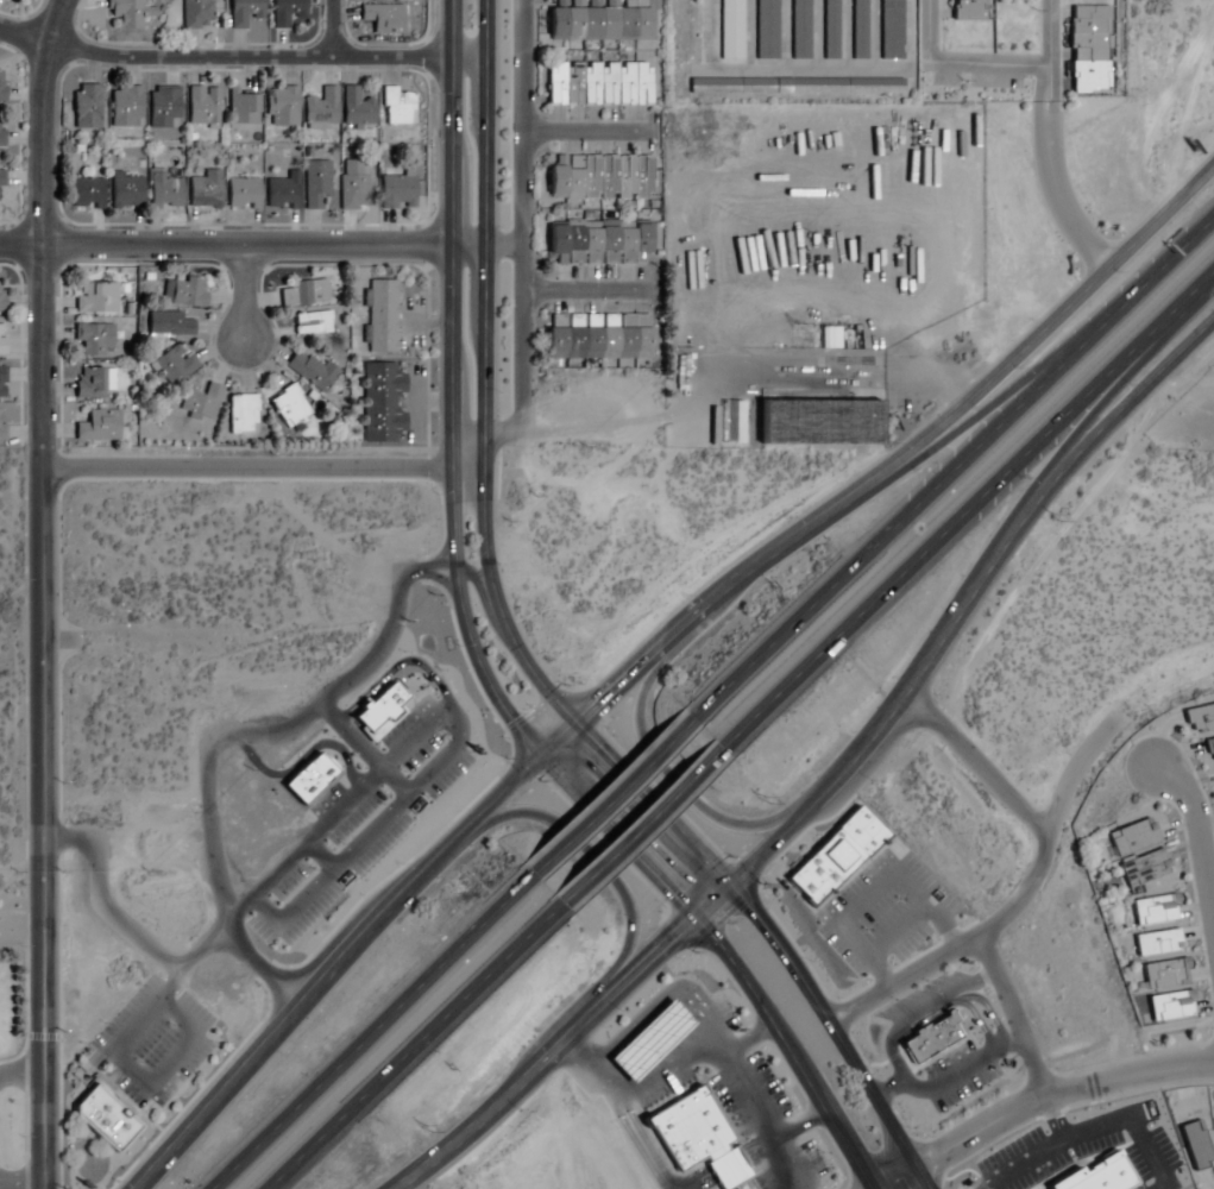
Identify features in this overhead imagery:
building: (14, 1)
building: (968, 10)
building: (130, 12)
building: (244, 12)
building: (287, 12)
building: (197, 14)
building: (384, 17)
building: (598, 20)
road: (328, 29)
building: (729, 29)
building: (765, 29)
building: (798, 29)
building: (830, 29)
building: (858, 29)
building: (889, 29)
road: (924, 32)
road: (220, 56)
road: (985, 64)
building: (1088, 76)
building: (8, 82)
building: (599, 83)
building: (795, 86)
building: (87, 105)
building: (125, 105)
building: (243, 105)
building: (281, 105)
building: (163, 106)
building: (202, 106)
road: (1163, 106)
building: (396, 107)
building: (321, 108)
building: (358, 108)
road: (446, 121)
road: (581, 133)
building: (0, 136)
road: (1043, 144)
building: (599, 176)
building: (1, 177)
building: (315, 181)
building: (353, 184)
building: (126, 189)
building: (165, 189)
building: (205, 189)
building: (397, 189)
building: (243, 191)
building: (281, 191)
building: (87, 193)
building: (597, 240)
road: (259, 245)
road: (520, 252)
road: (587, 287)
building: (183, 290)
building: (306, 291)
road: (240, 294)
building: (1, 296)
building: (96, 296)
building: (380, 315)
building: (313, 322)
building: (170, 323)
building: (599, 335)
building: (1, 338)
building: (94, 338)
road: (1020, 350)
road: (447, 358)
building: (174, 364)
building: (312, 369)
road: (480, 375)
building: (1, 379)
building: (93, 382)
building: (201, 401)
building: (383, 402)
building: (289, 405)
road: (1092, 408)
building: (243, 413)
building: (824, 421)
road: (1103, 422)
building: (99, 424)
road: (951, 433)
road: (951, 464)
road: (260, 470)
road: (967, 510)
power tower: (1057, 520)
road: (421, 570)
road: (472, 578)
road: (40, 590)
road: (691, 615)
road: (461, 622)
building: (383, 713)
building: (1200, 718)
road: (878, 721)
road: (554, 738)
road: (210, 740)
building: (1210, 748)
road: (23, 760)
road: (668, 776)
road: (612, 795)
power tower: (763, 800)
road: (653, 803)
road: (336, 811)
road: (1201, 818)
road: (641, 825)
building: (1131, 837)
road: (591, 862)
building: (1144, 868)
road: (868, 889)
road: (96, 900)
building: (1152, 910)
road: (12, 913)
road: (987, 923)
building: (1157, 942)
road: (201, 948)
road: (723, 955)
road: (332, 971)
road: (901, 973)
building: (1164, 973)
building: (1170, 1006)
road: (916, 1011)
road: (838, 1028)
road: (369, 1030)
road: (750, 1033)
road: (562, 1039)
building: (654, 1043)
gas station: (654, 1043)
road: (414, 1045)
road: (709, 1053)
road: (1034, 1068)
road: (136, 1072)
road: (20, 1075)
road: (1044, 1103)
building: (107, 1120)
road: (801, 1120)
power tower: (423, 1130)
building: (702, 1139)
building: (1196, 1144)
road: (20, 1183)
road: (40, 1187)
road: (42, 1187)

